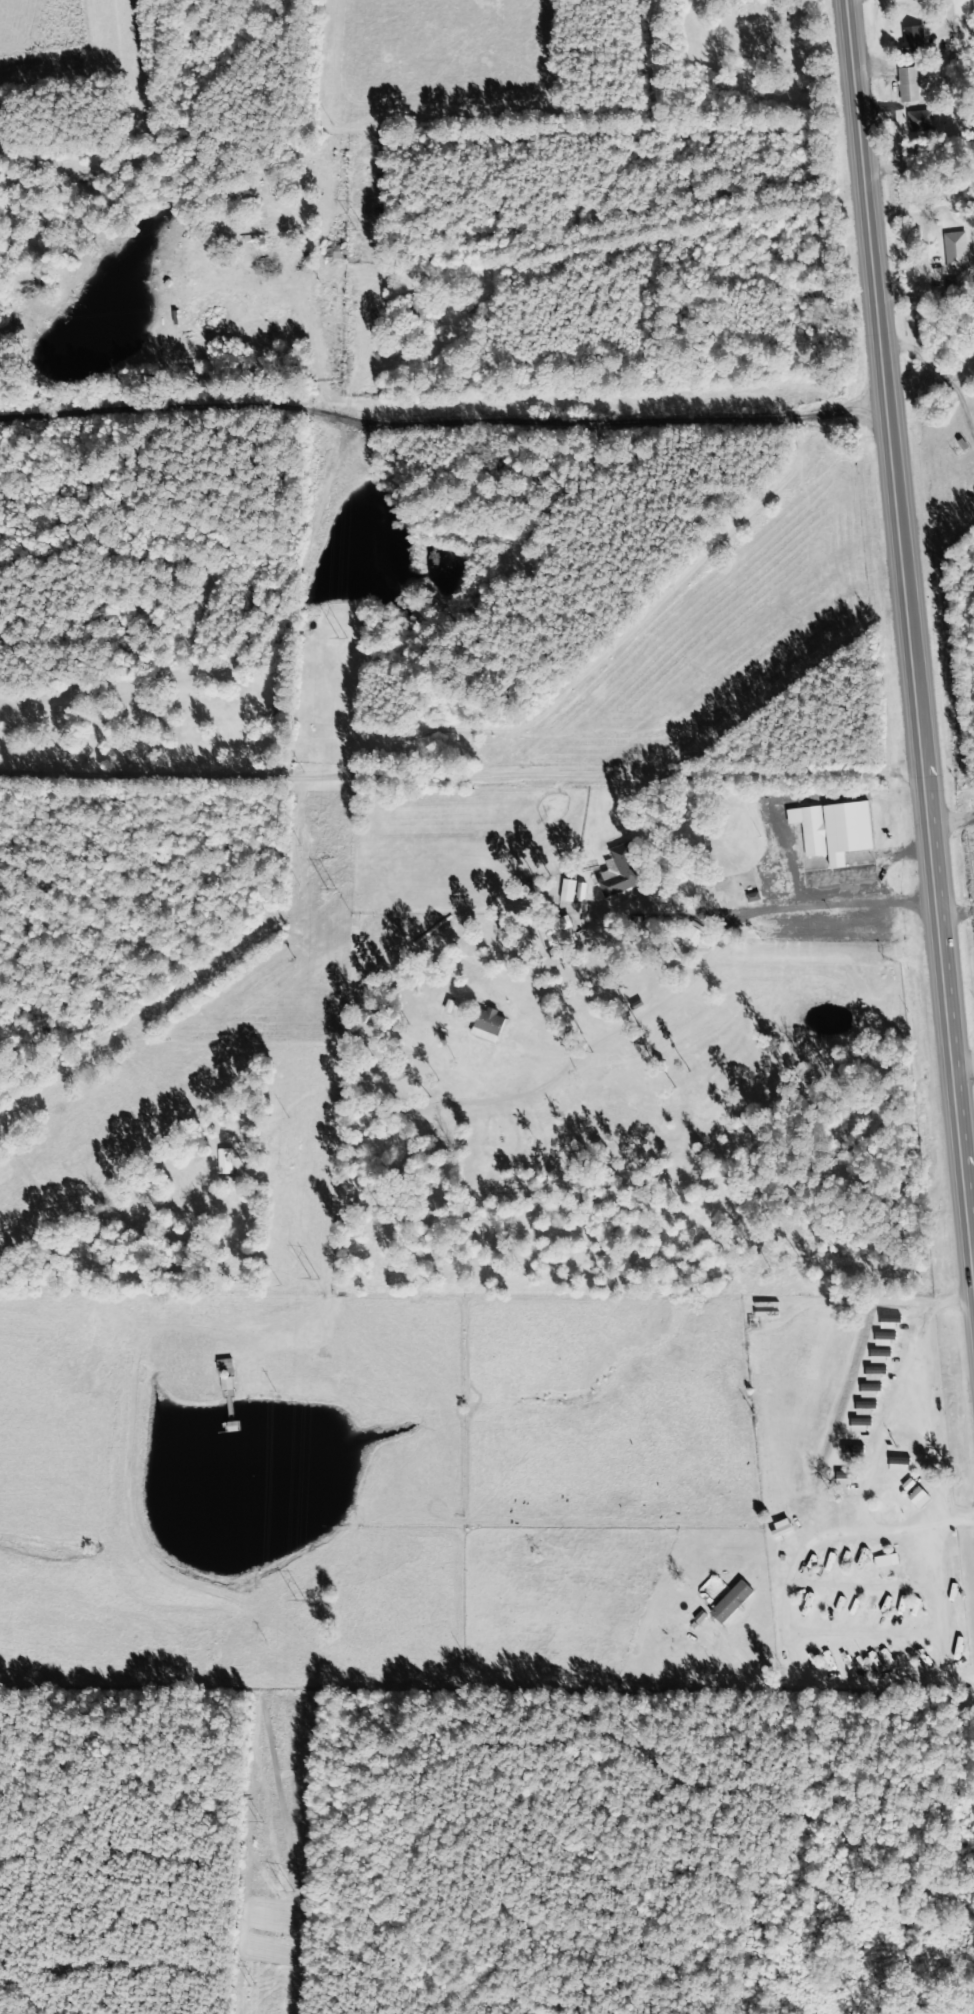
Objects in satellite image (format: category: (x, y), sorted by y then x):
building: (908, 40)
building: (904, 84)
building: (908, 122)
building: (952, 250)
building: (333, 252)
building: (413, 317)
road: (906, 660)
building: (830, 830)
building: (618, 870)
building: (565, 890)
building: (556, 931)
building: (413, 1299)
building: (874, 1356)
building: (248, 1371)
building: (869, 1373)
building: (221, 1374)
building: (864, 1391)
building: (859, 1408)
building: (855, 1425)
building: (847, 1451)
building: (839, 1478)
building: (913, 1498)
building: (881, 1561)
building: (726, 1601)

